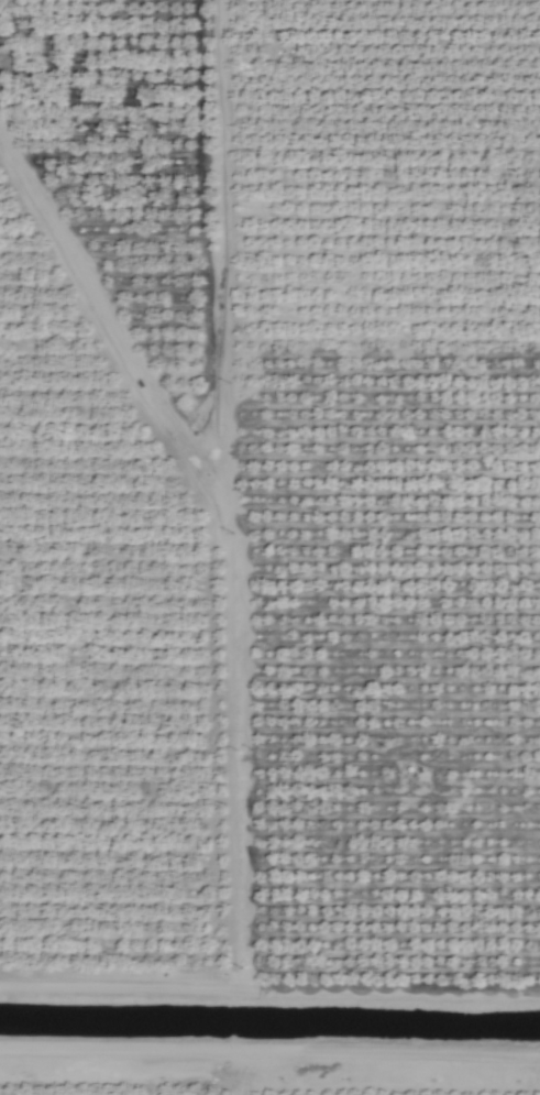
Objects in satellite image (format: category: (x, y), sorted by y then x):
road: (269, 1004)
road: (269, 1052)
road: (240, 1073)

